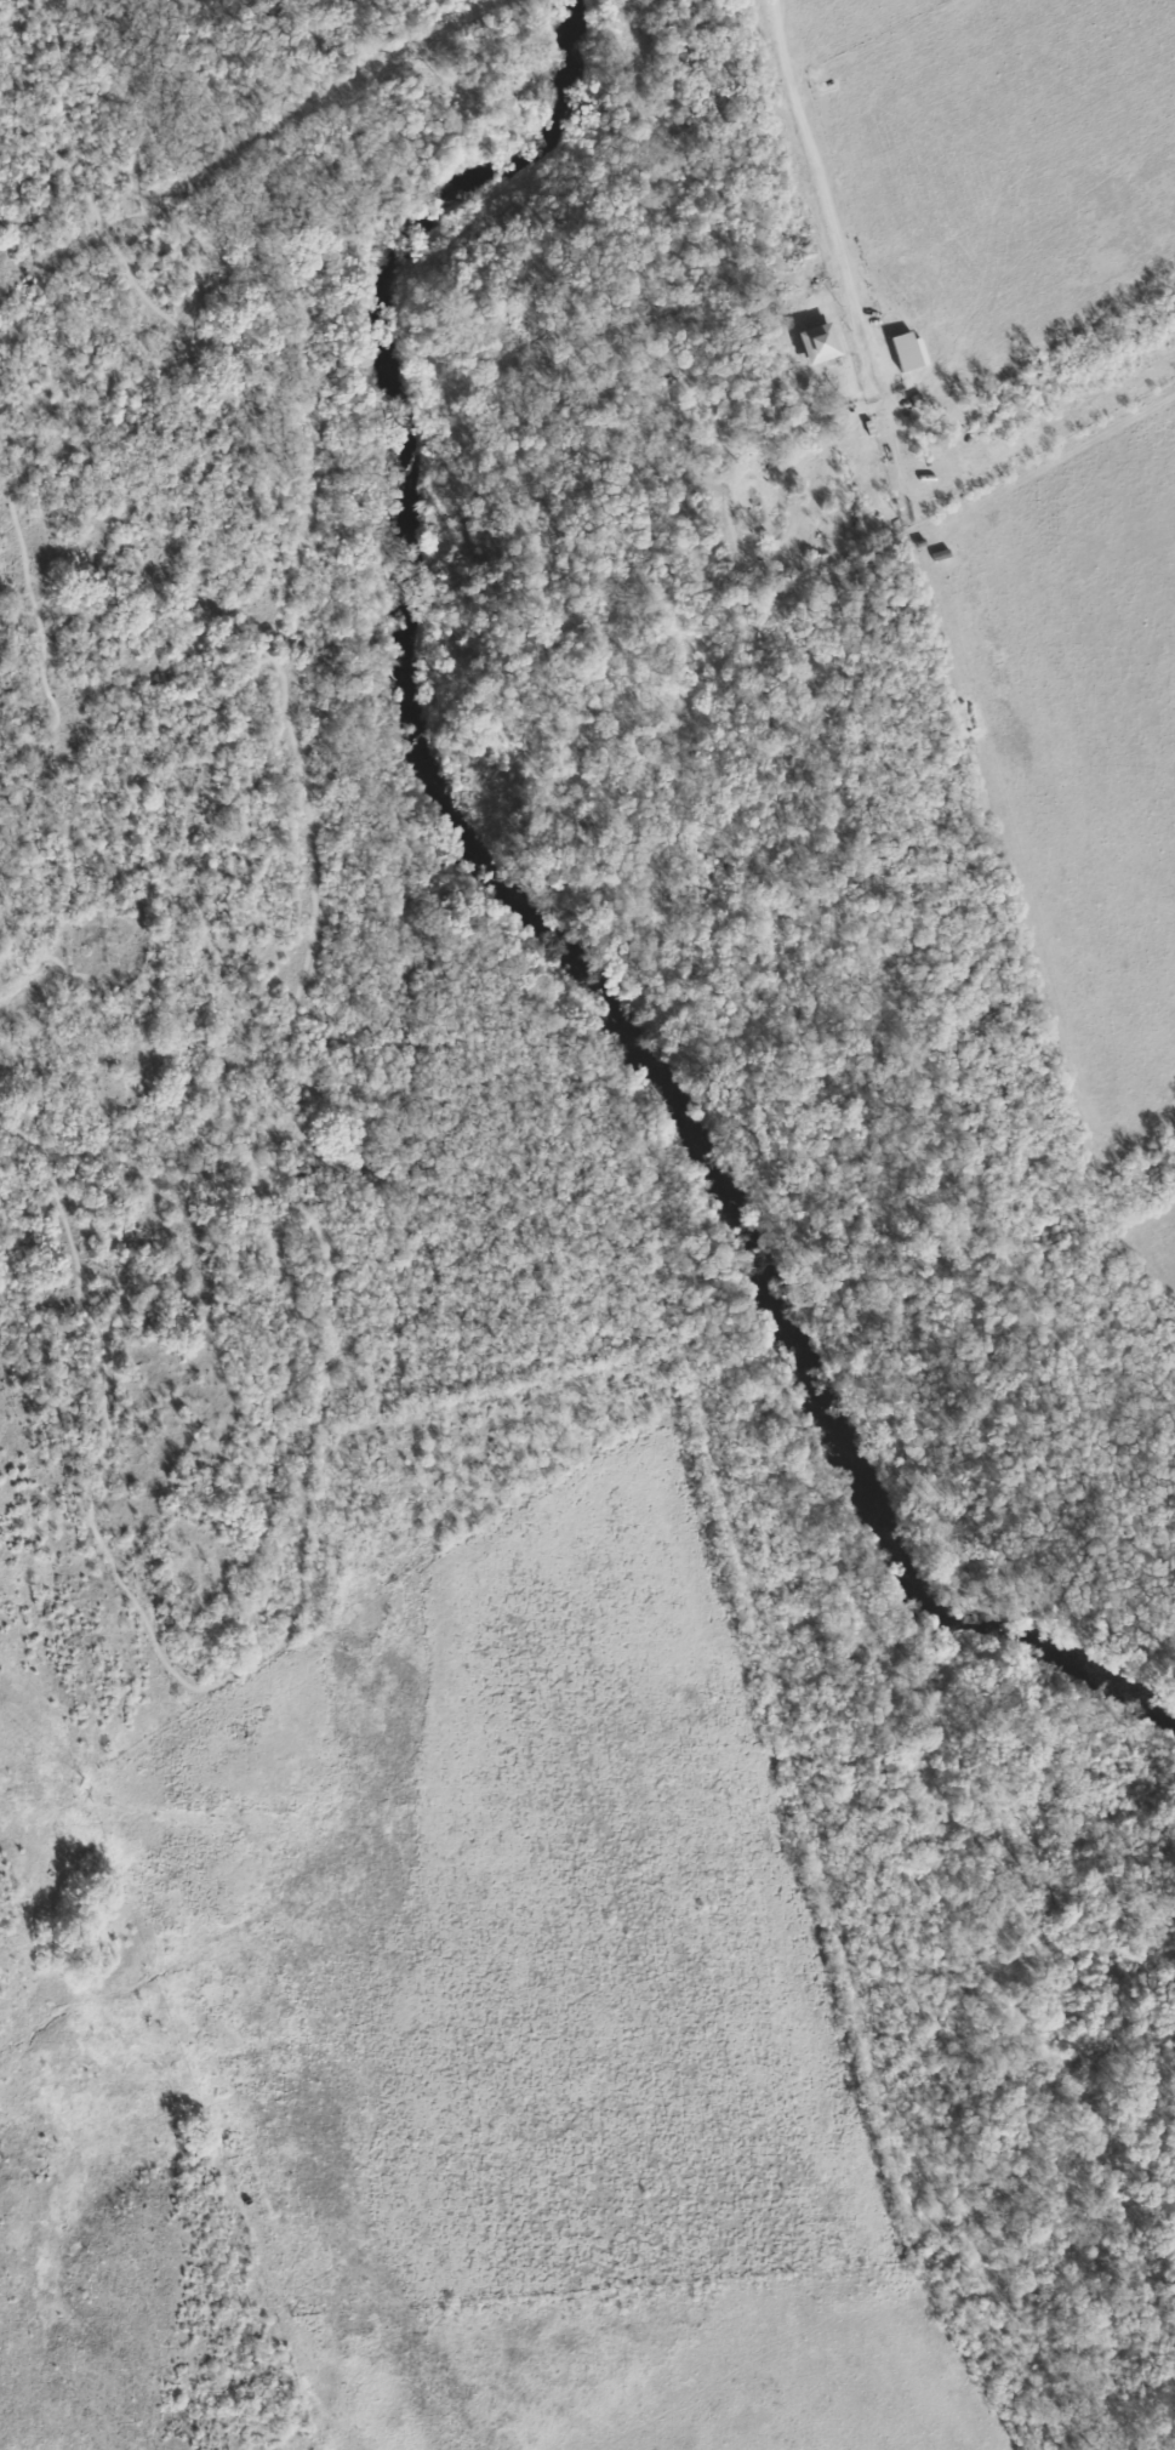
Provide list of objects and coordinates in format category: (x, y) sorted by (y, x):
river: (541, 930)

